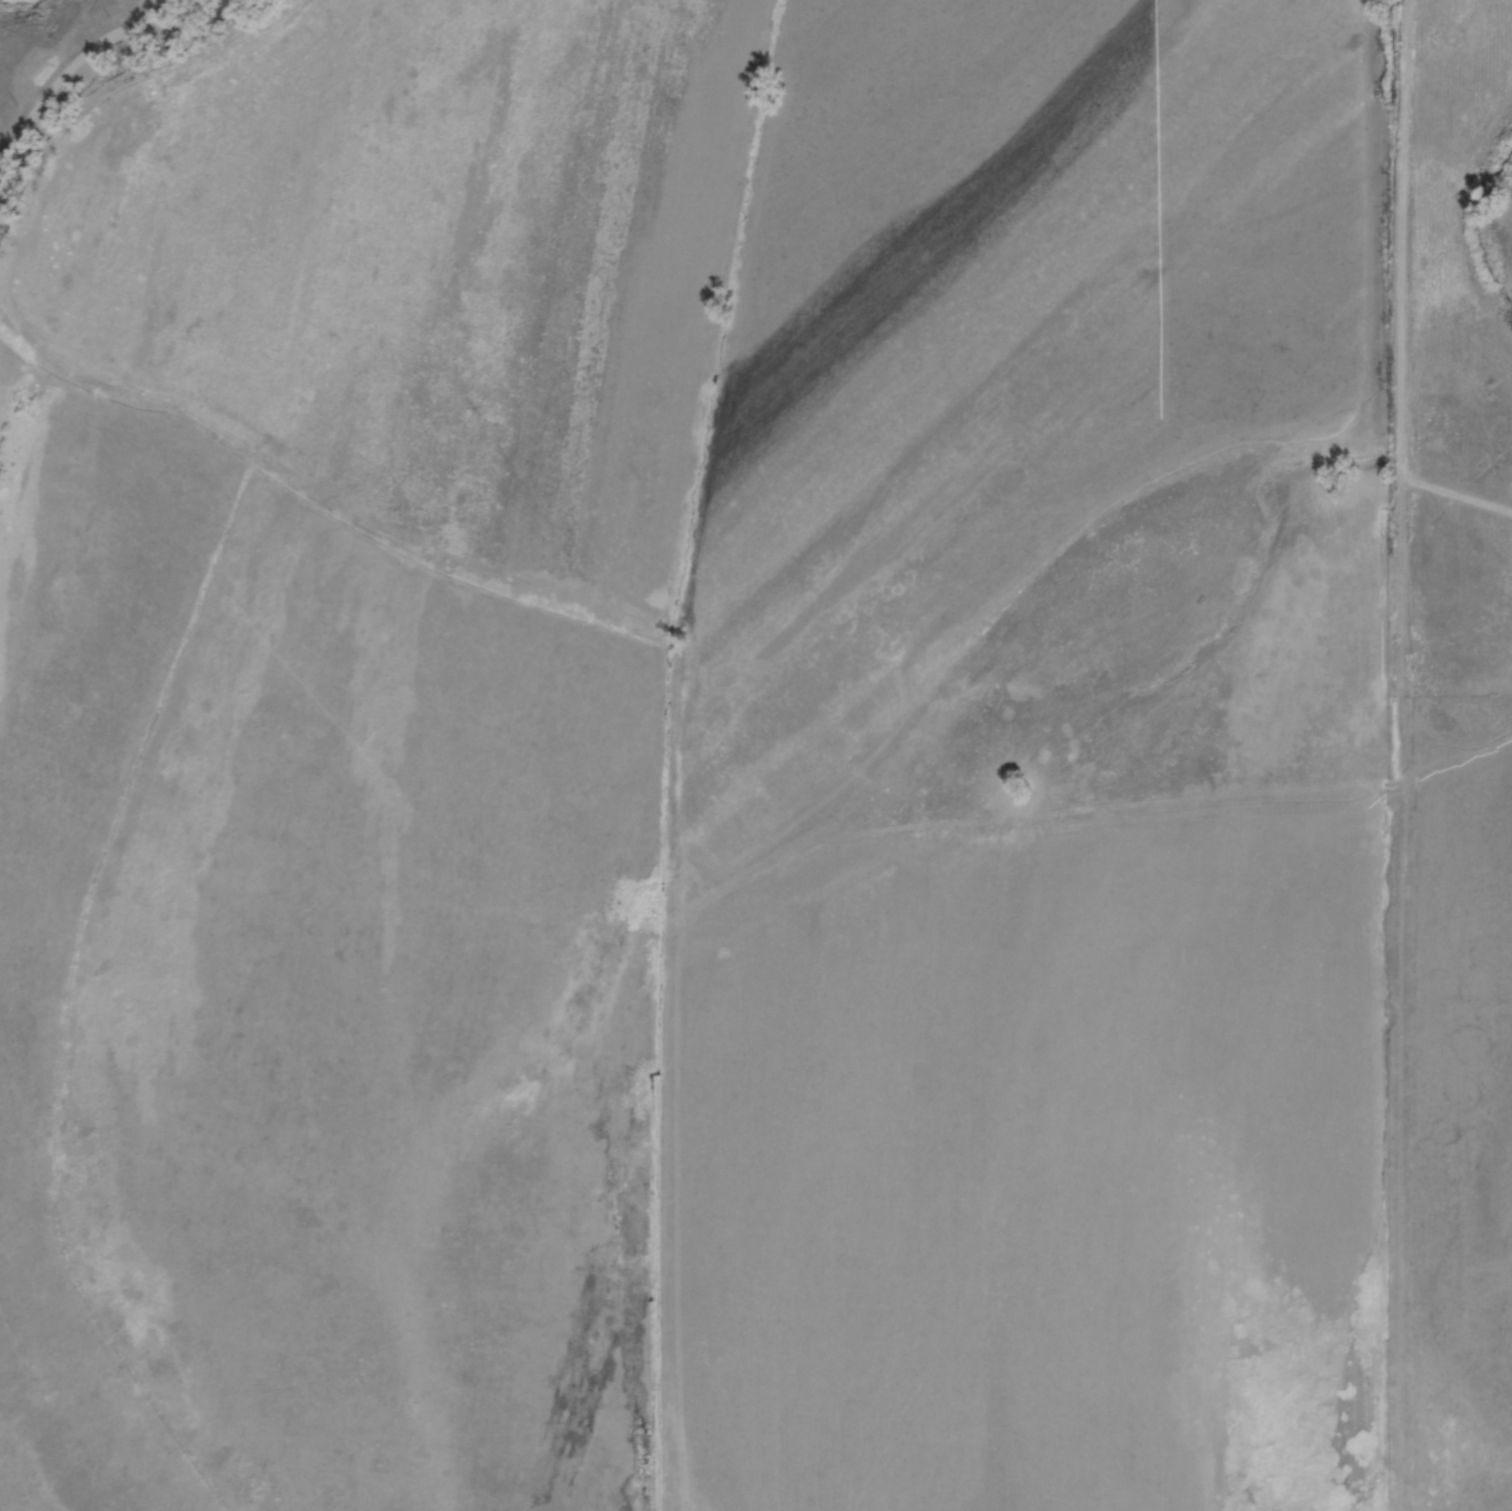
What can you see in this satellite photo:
road: (61, 77)
road: (1389, 755)
road: (675, 837)

